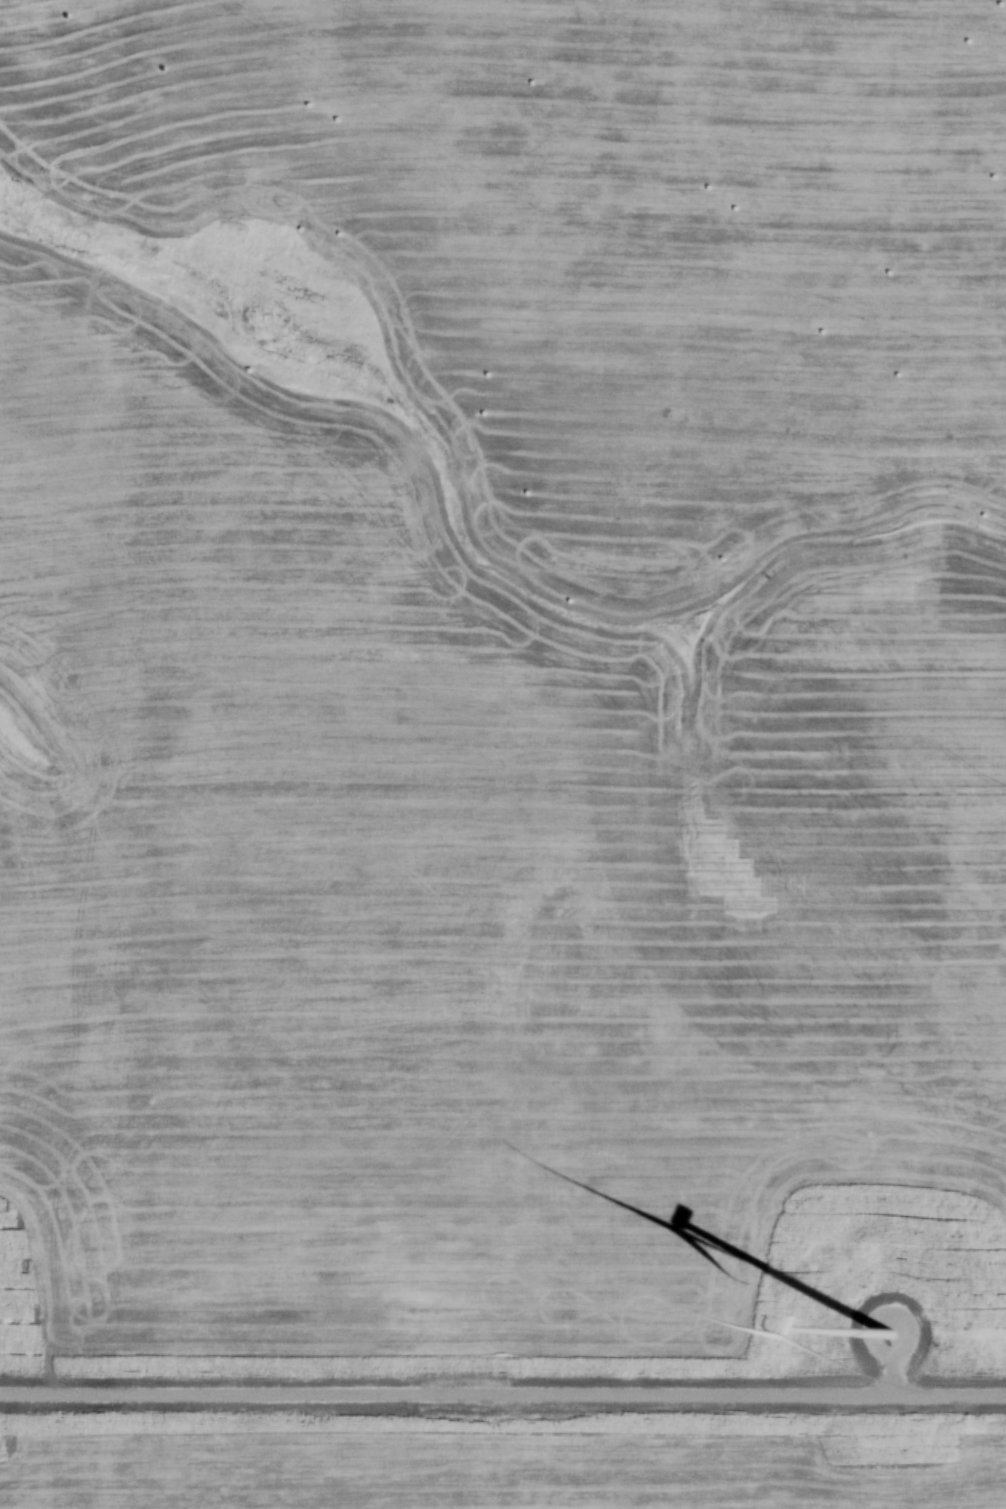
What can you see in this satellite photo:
wind turbine: (887, 1323)

